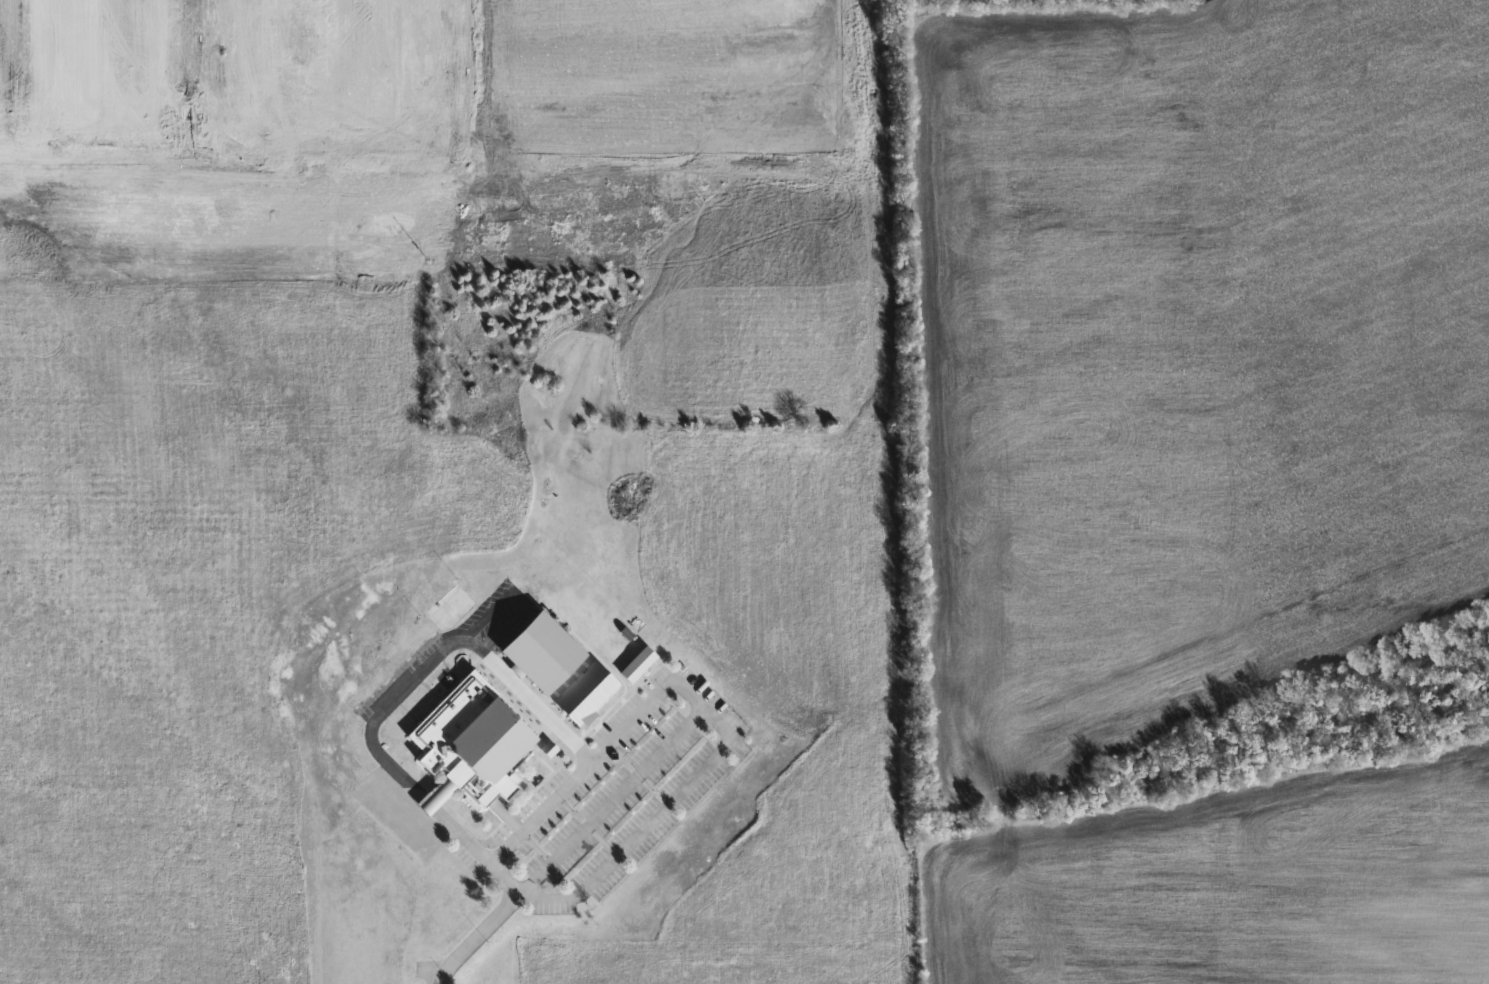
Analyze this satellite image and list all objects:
road: (911, 525)
road: (515, 593)
parking lot: (456, 646)
building: (543, 650)
building: (638, 662)
road: (411, 681)
building: (588, 689)
building: (568, 711)
road: (642, 711)
building: (589, 716)
building: (473, 739)
building: (548, 749)
parking lot: (601, 753)
building: (437, 794)
parking lot: (616, 796)
road: (611, 801)
parking lot: (665, 803)
building: (504, 812)
parking lot: (424, 821)
road: (651, 824)
road: (520, 834)
parking lot: (553, 902)
road: (475, 937)

